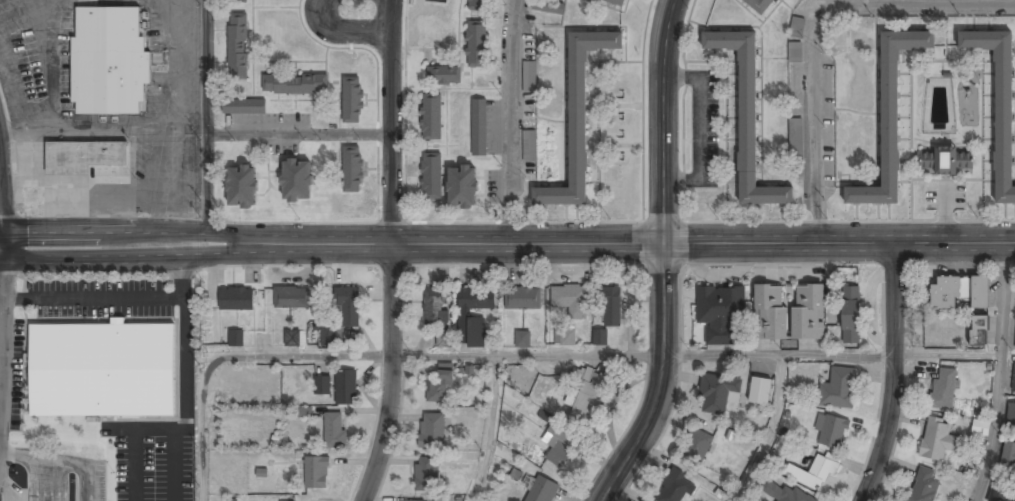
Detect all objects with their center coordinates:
building: (237, 0)
building: (616, 2)
building: (478, 5)
building: (760, 5)
building: (548, 7)
road: (343, 30)
road: (821, 34)
building: (476, 44)
building: (237, 46)
building: (794, 51)
building: (108, 61)
building: (444, 75)
building: (529, 77)
building: (294, 84)
building: (352, 100)
building: (998, 104)
building: (244, 107)
building: (431, 117)
building: (746, 117)
building: (577, 118)
building: (889, 118)
road: (207, 121)
road: (517, 121)
building: (479, 128)
road: (300, 133)
building: (795, 136)
building: (529, 145)
building: (83, 157)
building: (946, 161)
building: (351, 169)
building: (431, 176)
building: (296, 181)
building: (241, 187)
building: (462, 187)
road: (507, 243)
road: (392, 252)
road: (661, 257)
building: (959, 291)
building: (292, 297)
building: (522, 298)
building: (476, 299)
building: (570, 299)
building: (236, 300)
building: (610, 306)
building: (434, 307)
building: (719, 312)
building: (788, 314)
building: (850, 315)
building: (342, 316)
building: (979, 330)
building: (475, 332)
building: (236, 337)
building: (565, 337)
building: (599, 337)
building: (292, 339)
building: (442, 339)
building: (522, 339)
road: (833, 354)
road: (365, 356)
building: (101, 369)
road: (1002, 373)
road: (893, 374)
building: (1013, 380)
building: (321, 385)
building: (345, 387)
building: (439, 387)
building: (943, 388)
building: (838, 389)
building: (760, 391)
building: (717, 393)
building: (588, 401)
building: (1011, 416)
building: (980, 427)
building: (432, 429)
road: (490, 429)
building: (334, 430)
building: (831, 430)
road: (772, 431)
building: (937, 439)
building: (560, 445)
building: (696, 445)
building: (1008, 457)
building: (316, 472)
building: (812, 472)
building: (426, 473)
building: (924, 485)
building: (675, 487)
building: (540, 489)
road: (9, 490)
building: (781, 491)
building: (1002, 494)
building: (412, 500)

